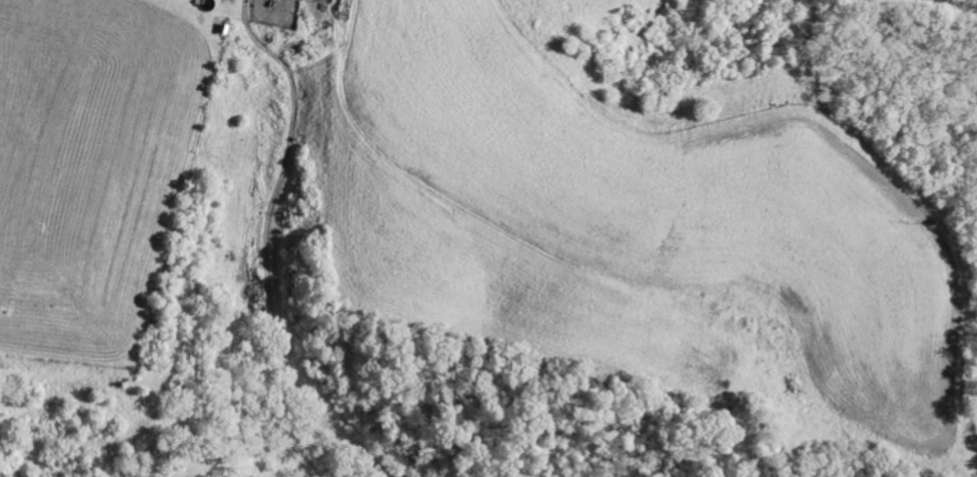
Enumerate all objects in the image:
road: (270, 253)

